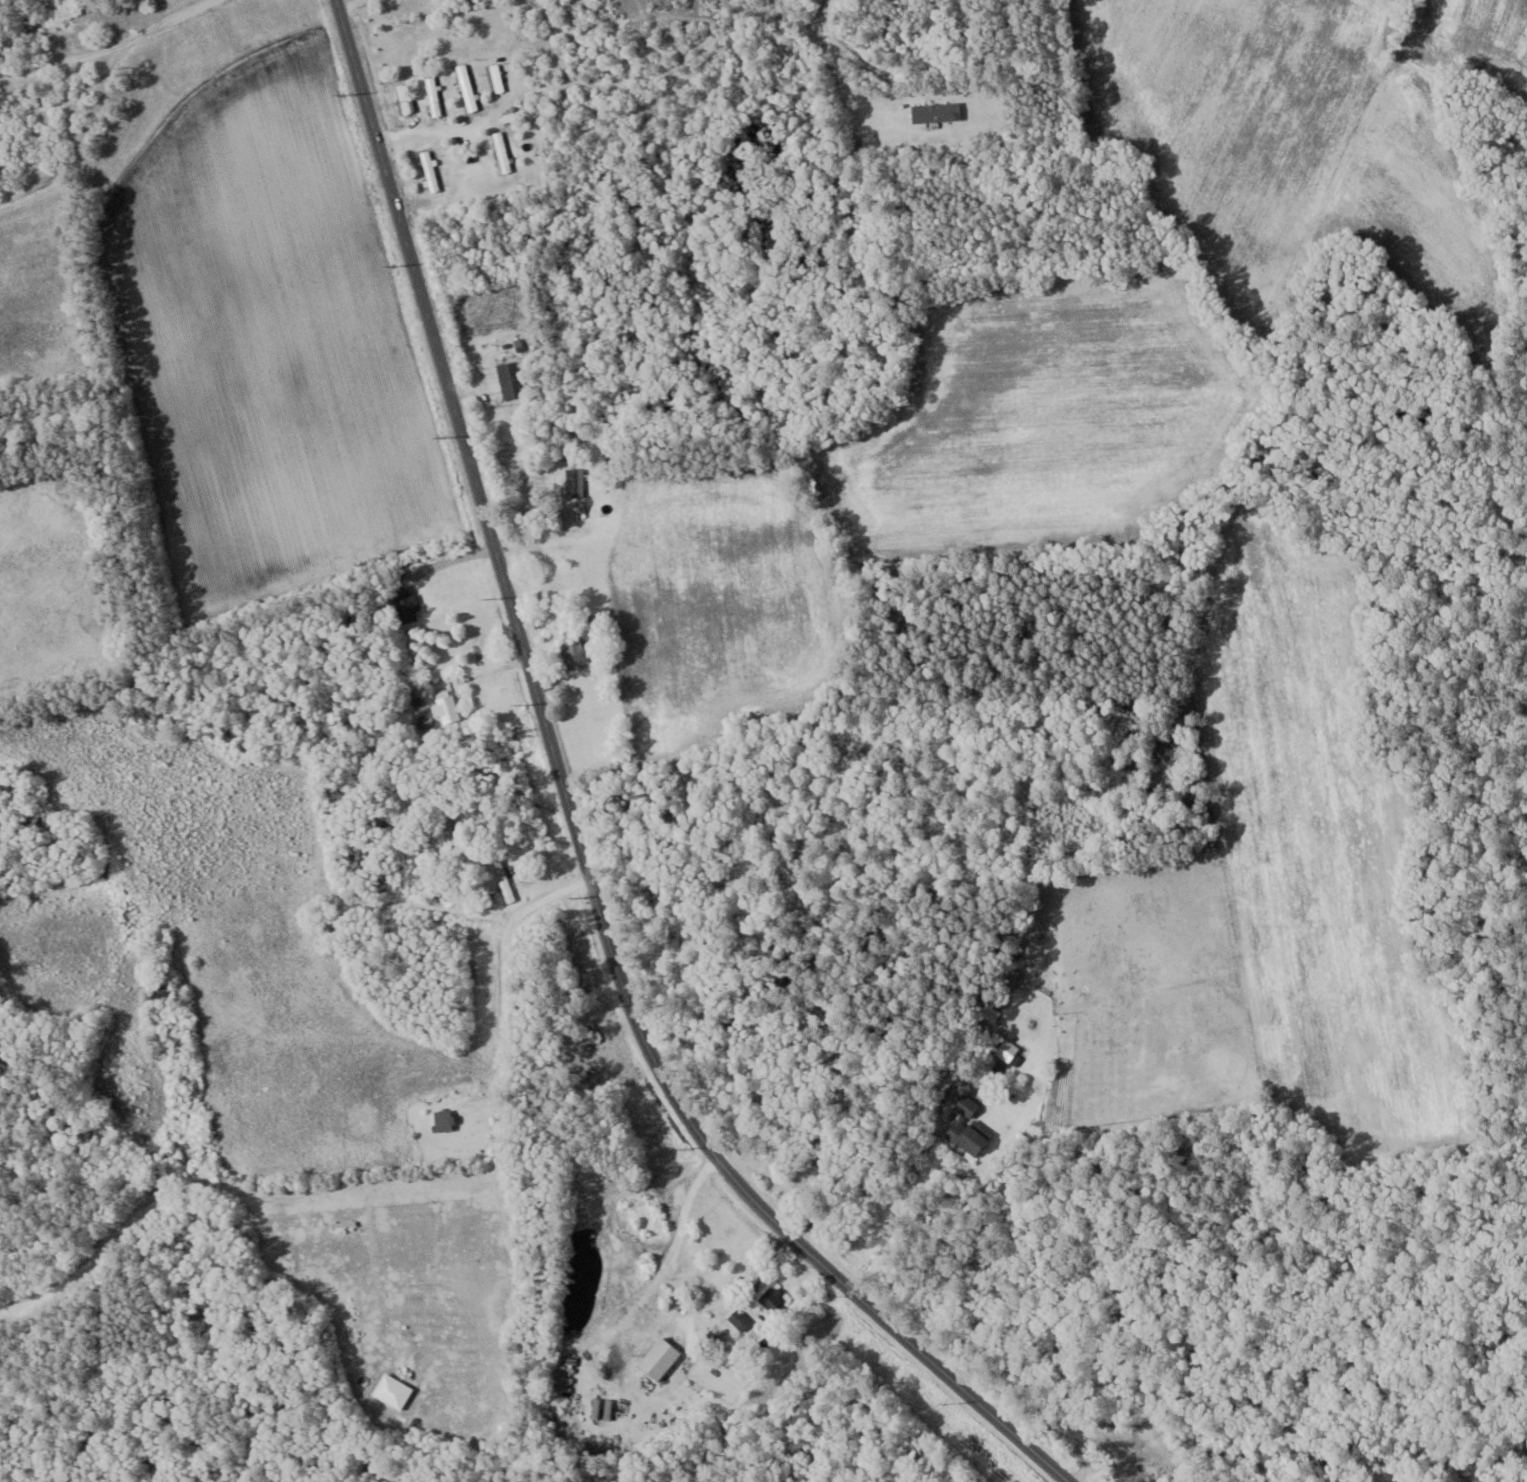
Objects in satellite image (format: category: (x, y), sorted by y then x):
road: (353, 6)
road: (1293, 26)
road: (140, 56)
building: (496, 78)
building: (466, 87)
building: (434, 95)
building: (404, 98)
building: (936, 111)
building: (502, 151)
building: (428, 170)
building: (513, 378)
building: (575, 481)
building: (406, 604)
building: (575, 651)
building: (448, 709)
road: (572, 817)
building: (504, 880)
building: (162, 990)
building: (968, 1135)
road: (903, 1177)
road: (402, 1187)
building: (774, 1300)
building: (660, 1359)

